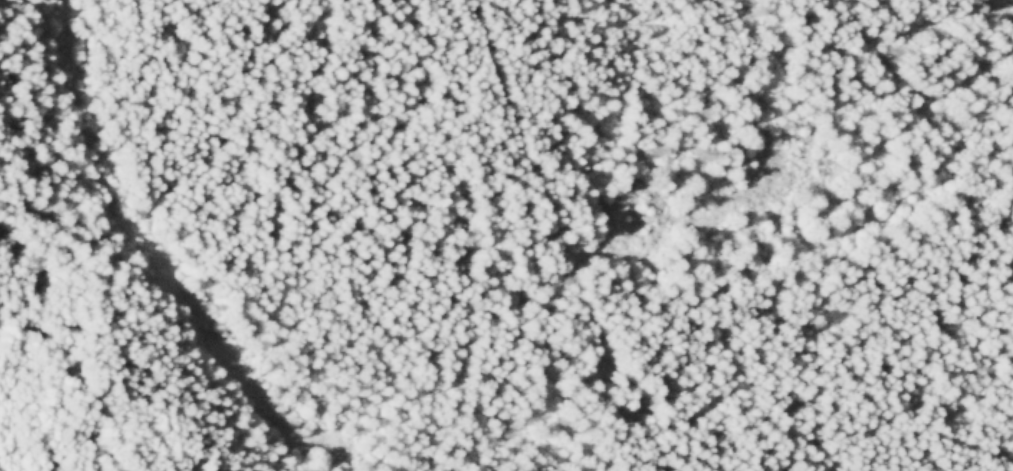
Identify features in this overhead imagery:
road: (141, 239)
road: (588, 315)
road: (304, 449)

